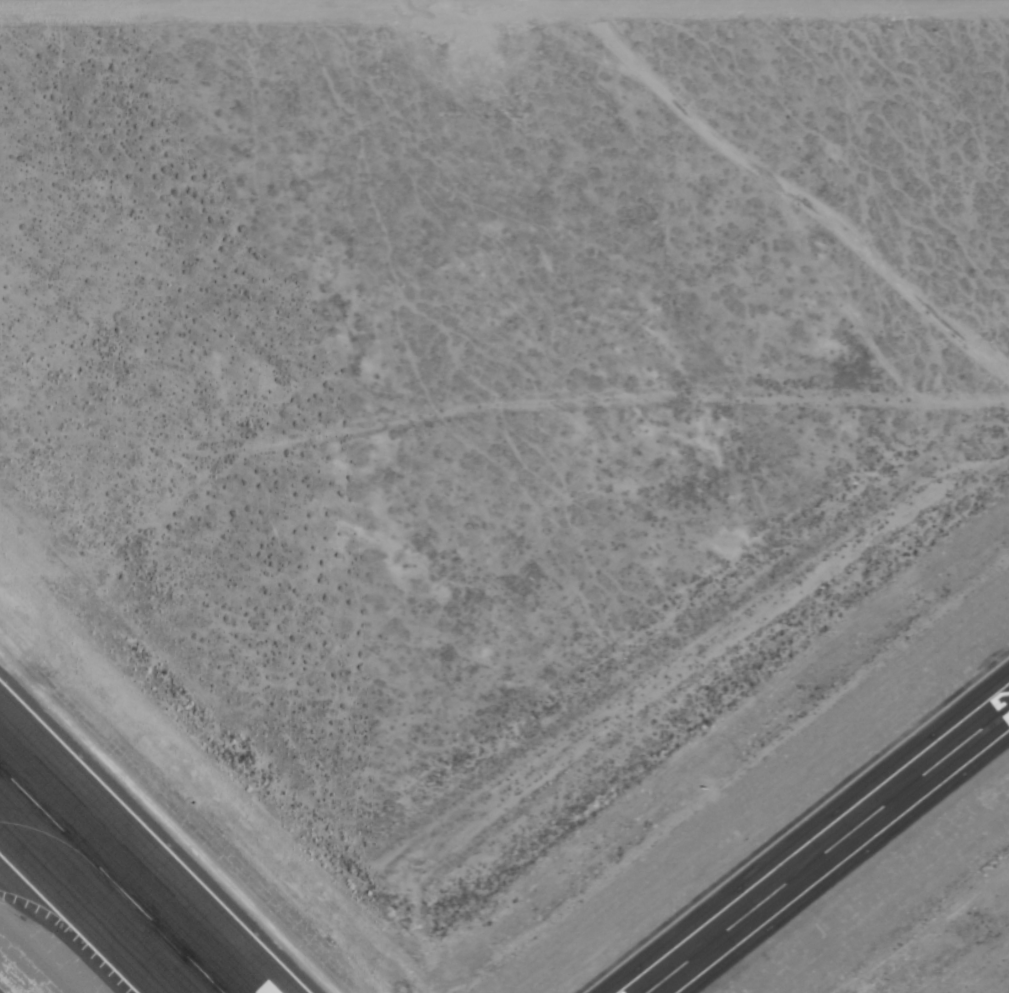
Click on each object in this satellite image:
airport: (504, 496)
airport taxiway: (50, 837)
airport runway: (828, 850)
airport runway: (110, 881)
building: (672, 971)

